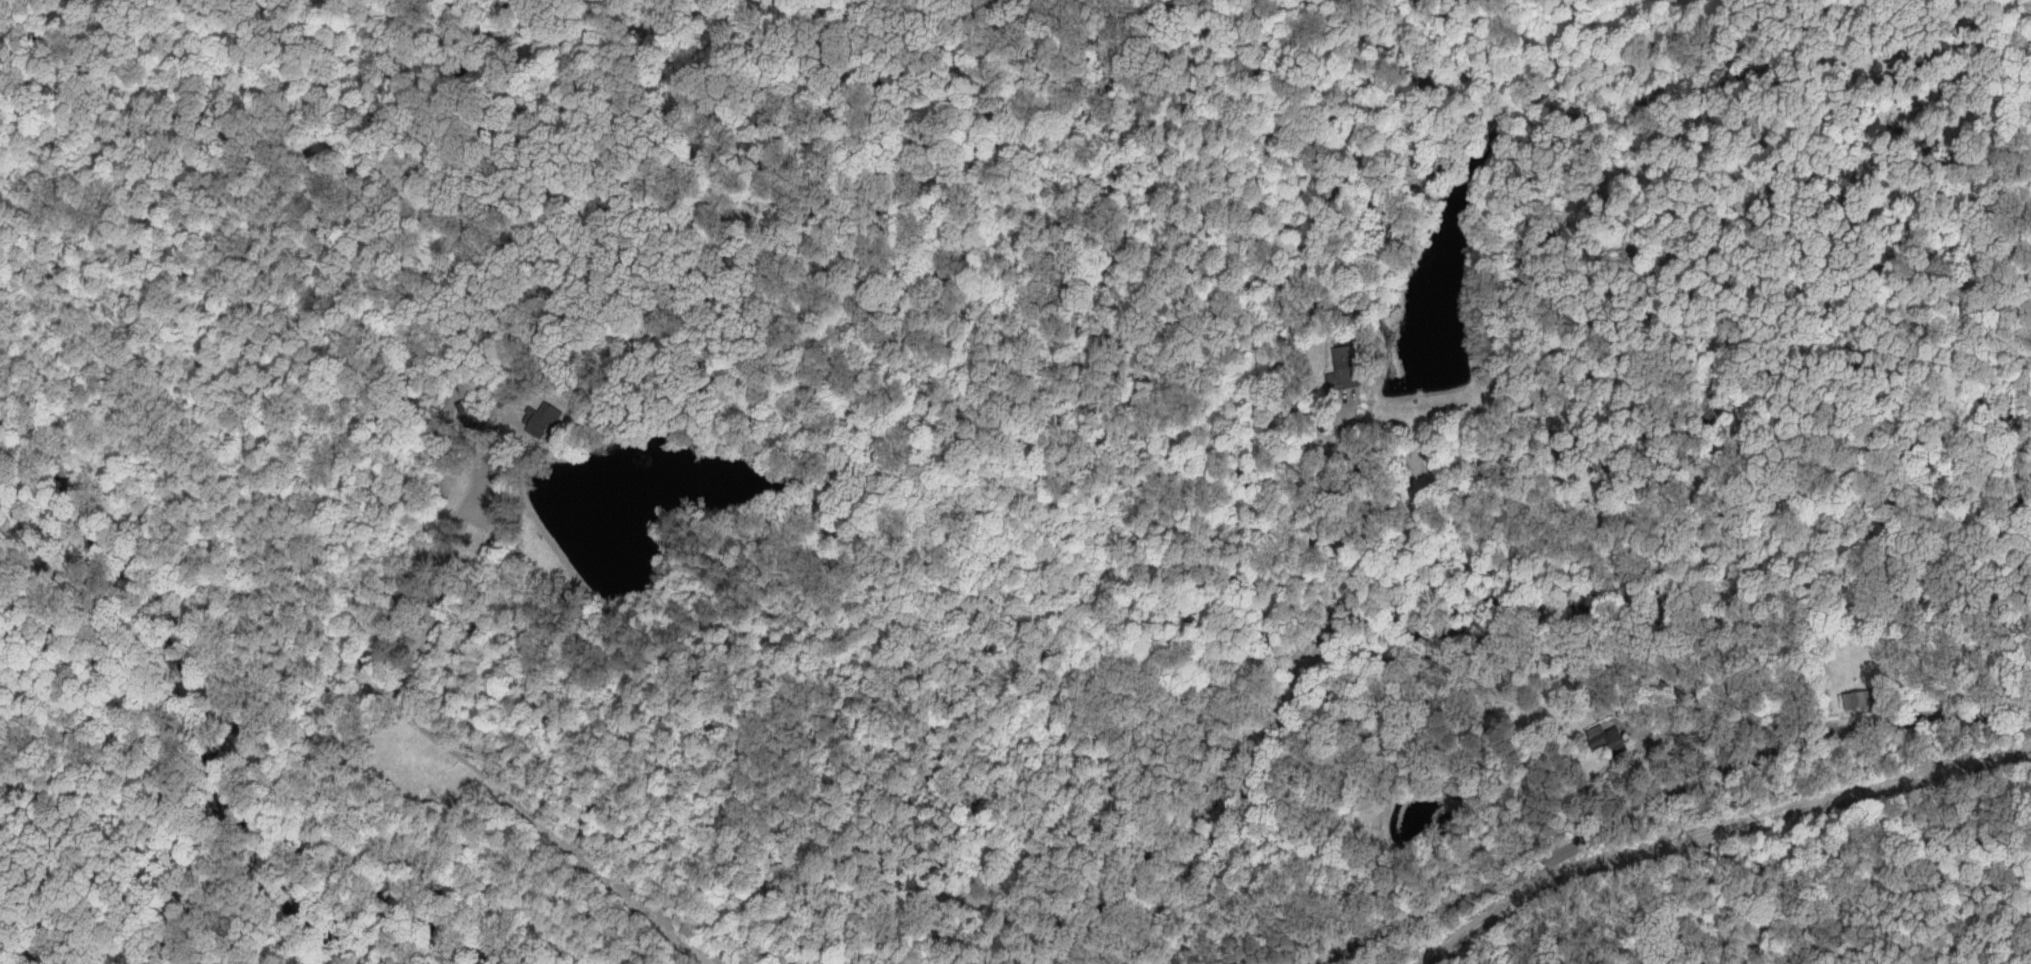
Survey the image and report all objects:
building: (1342, 371)
building: (538, 418)
road: (1296, 697)
road: (459, 753)
road: (1674, 800)

